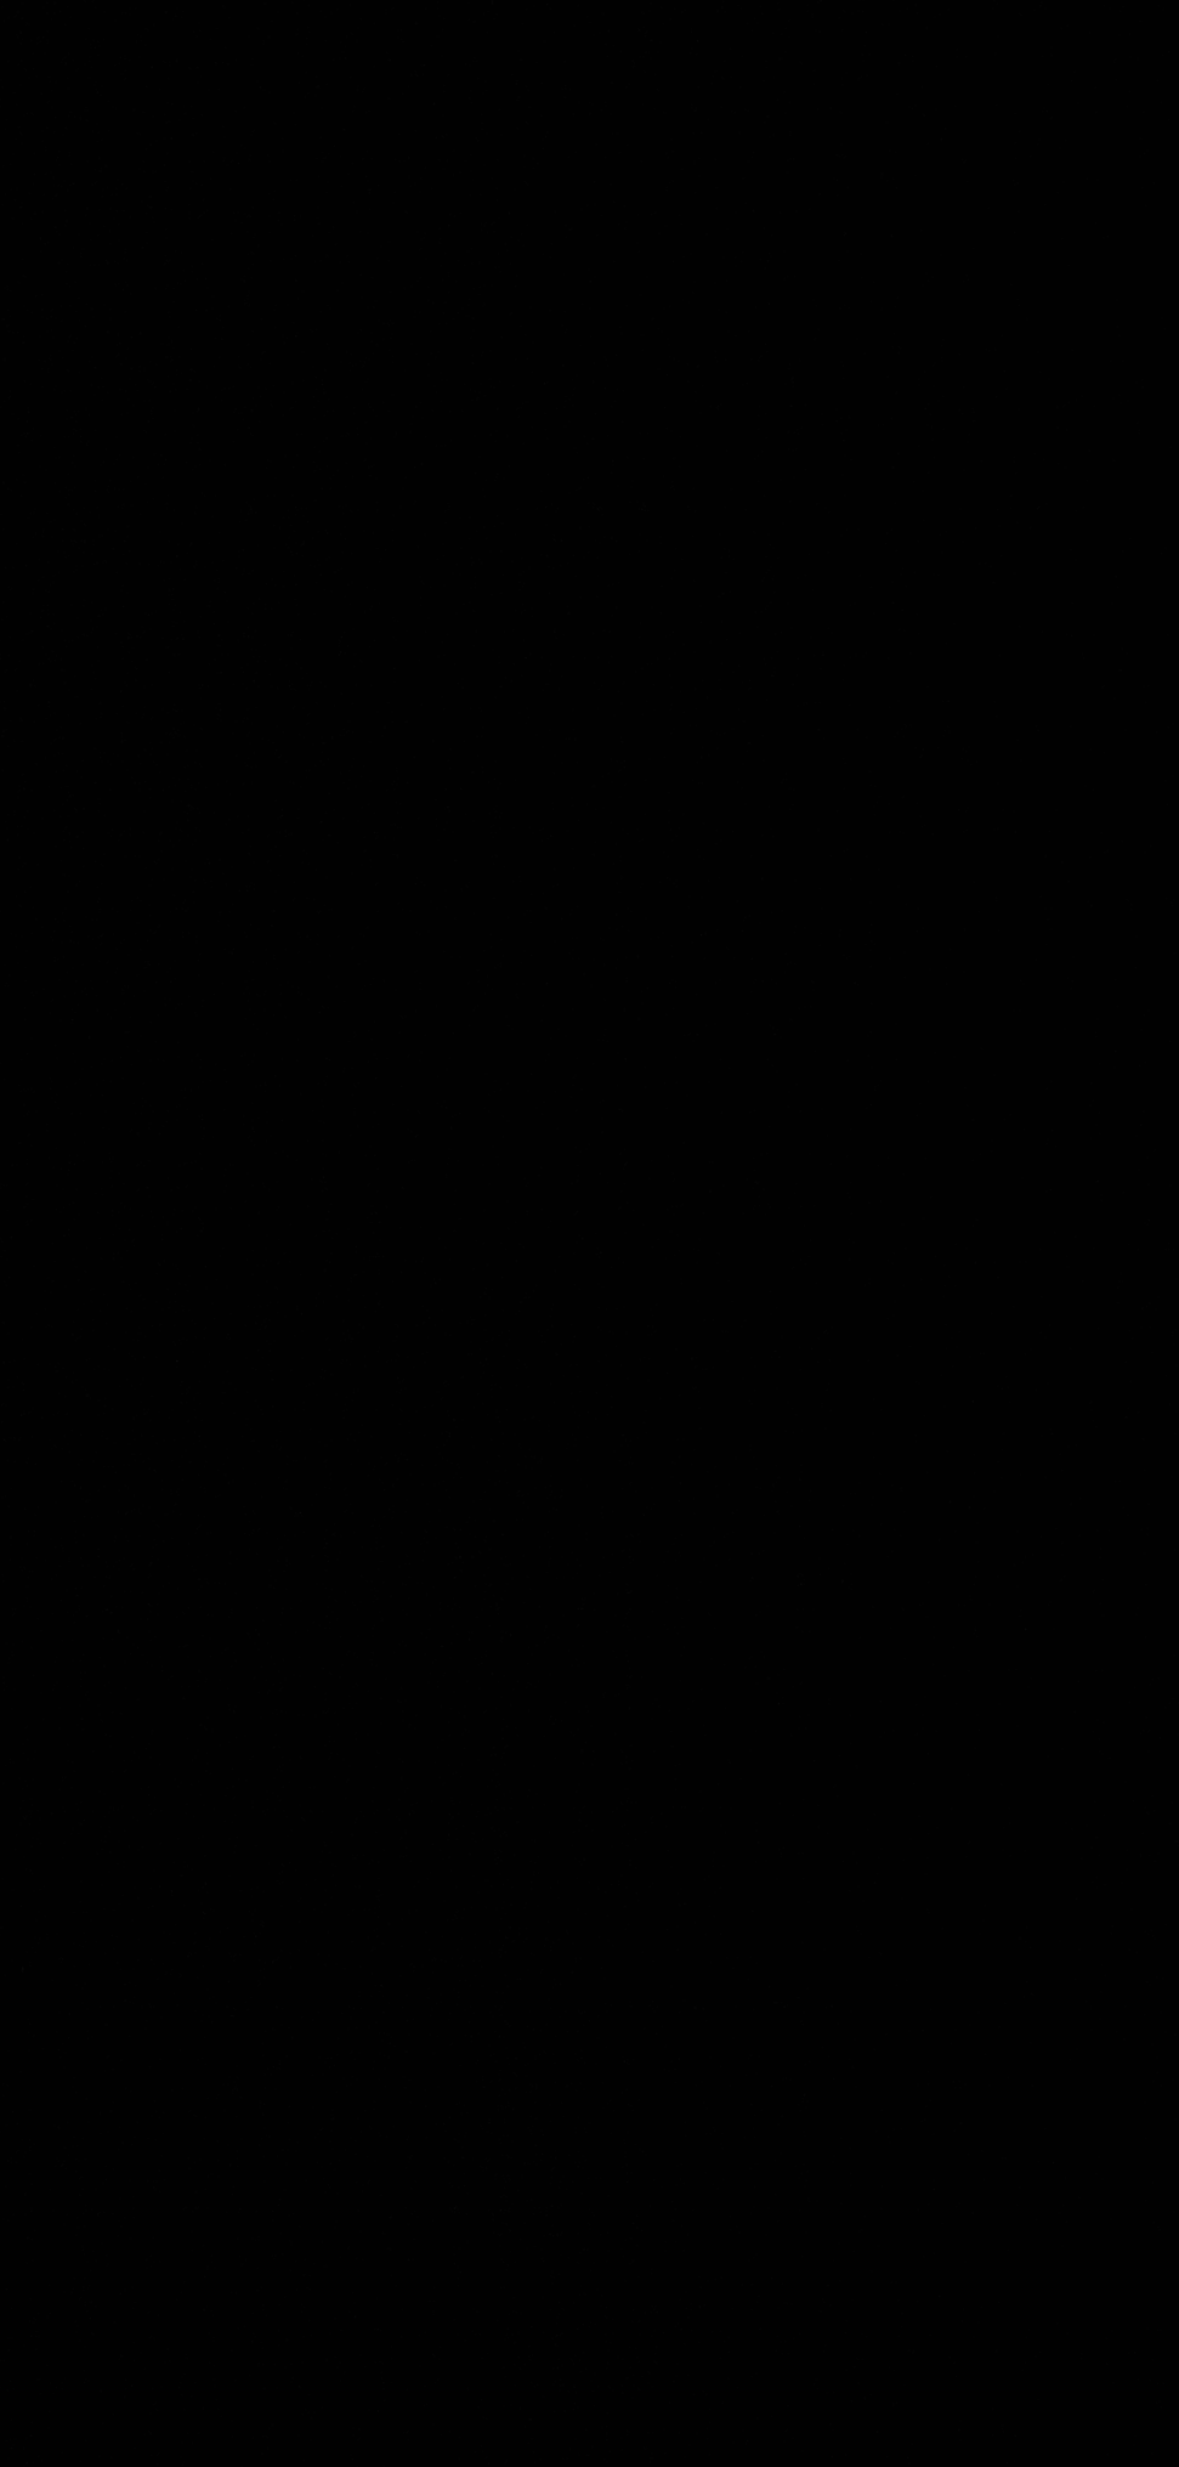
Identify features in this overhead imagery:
river: (32, 2256)

